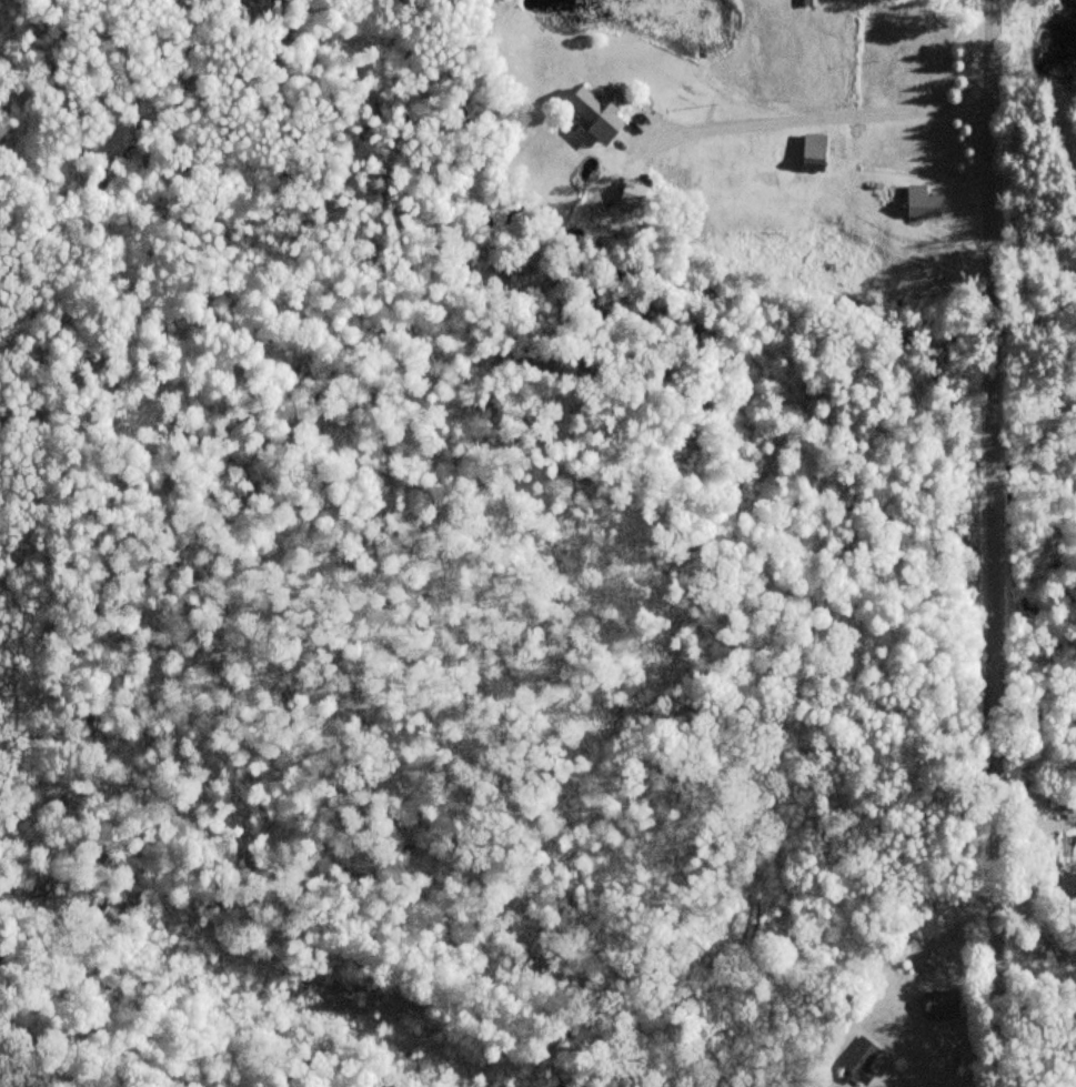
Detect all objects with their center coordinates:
building: (592, 114)
building: (809, 152)
building: (918, 203)
road: (989, 543)
building: (937, 1006)
building: (856, 1063)

